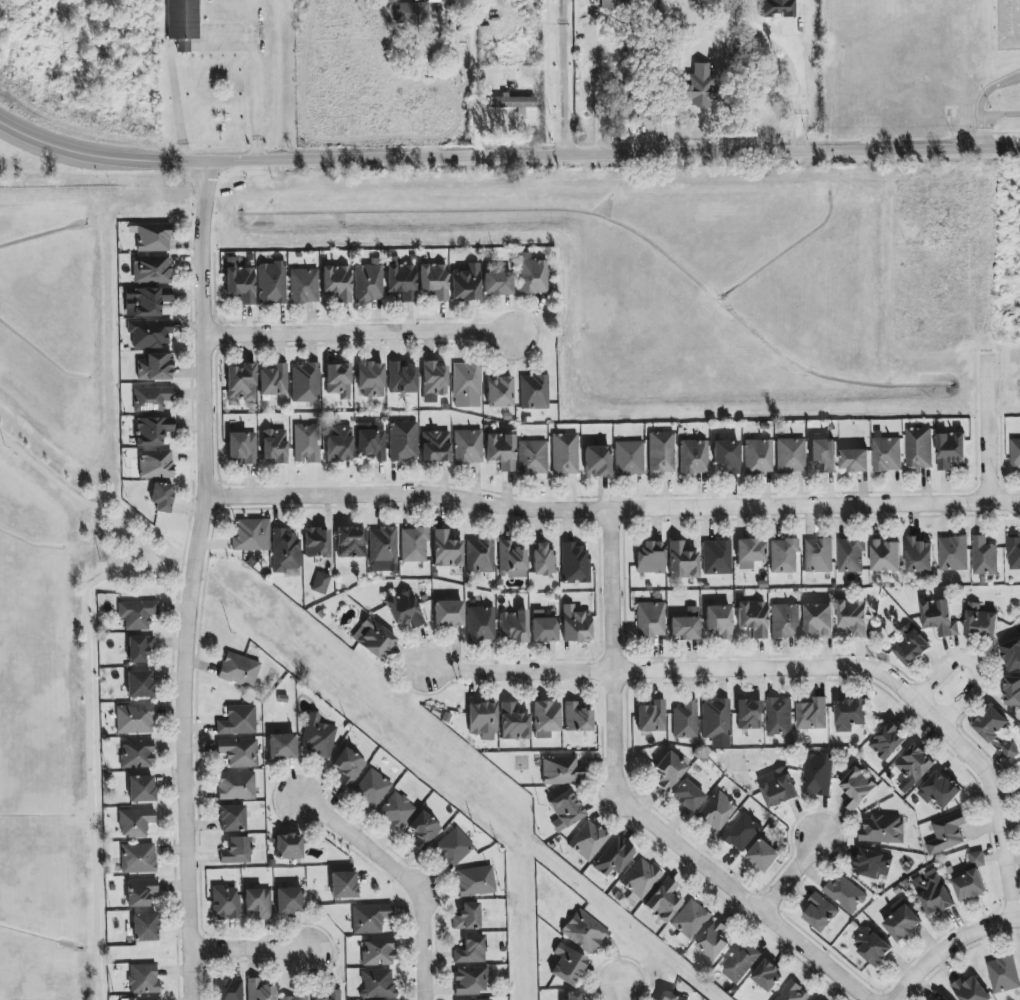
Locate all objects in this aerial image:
building: (614, 4)
building: (776, 8)
building: (410, 13)
building: (183, 19)
building: (708, 37)
road: (210, 44)
building: (183, 46)
road: (560, 76)
road: (482, 77)
building: (699, 87)
road: (987, 89)
road: (798, 91)
road: (595, 93)
building: (511, 102)
building: (641, 111)
road: (987, 116)
road: (49, 144)
road: (560, 153)
building: (153, 237)
building: (151, 269)
building: (532, 275)
building: (400, 279)
building: (434, 280)
building: (239, 281)
building: (369, 281)
building: (337, 282)
building: (271, 283)
building: (466, 283)
building: (497, 283)
building: (304, 286)
building: (150, 301)
building: (149, 333)
road: (364, 336)
building: (155, 367)
building: (401, 378)
building: (370, 379)
building: (274, 380)
building: (338, 380)
building: (433, 380)
building: (241, 382)
building: (305, 383)
building: (466, 385)
building: (499, 392)
building: (534, 392)
building: (150, 398)
road: (987, 429)
building: (152, 430)
building: (403, 441)
building: (306, 443)
building: (338, 444)
building: (371, 444)
building: (274, 445)
building: (435, 446)
building: (242, 447)
building: (467, 447)
building: (919, 449)
building: (501, 450)
building: (951, 450)
building: (1015, 452)
building: (661, 453)
building: (564, 454)
building: (887, 454)
building: (727, 455)
building: (790, 455)
building: (823, 455)
building: (758, 456)
building: (532, 457)
building: (693, 457)
building: (629, 458)
building: (855, 460)
building: (597, 461)
building: (156, 464)
building: (162, 497)
road: (98, 508)
road: (611, 511)
building: (251, 535)
building: (350, 542)
building: (316, 543)
building: (414, 545)
building: (382, 546)
building: (446, 550)
building: (285, 552)
building: (1014, 552)
building: (749, 553)
building: (953, 553)
park: (130, 555)
building: (479, 555)
building: (818, 555)
building: (850, 555)
building: (886, 555)
building: (919, 555)
building: (783, 556)
building: (984, 556)
building: (716, 557)
building: (650, 558)
building: (542, 560)
building: (511, 561)
building: (682, 561)
building: (574, 564)
road: (194, 580)
building: (320, 583)
building: (404, 609)
building: (448, 613)
building: (137, 614)
building: (854, 617)
building: (939, 617)
building: (752, 618)
building: (819, 619)
building: (650, 620)
building: (718, 620)
building: (785, 621)
building: (980, 621)
building: (481, 624)
building: (575, 624)
building: (685, 625)
building: (514, 626)
building: (544, 630)
building: (374, 639)
building: (911, 647)
building: (139, 648)
building: (1012, 654)
road: (974, 667)
road: (800, 669)
building: (238, 670)
building: (139, 684)
building: (1012, 691)
building: (749, 714)
building: (812, 714)
building: (851, 714)
building: (546, 716)
building: (651, 717)
building: (779, 717)
building: (576, 718)
building: (134, 719)
building: (482, 720)
building: (685, 720)
building: (238, 721)
building: (716, 722)
building: (513, 723)
building: (990, 724)
building: (317, 735)
building: (887, 741)
building: (281, 746)
road: (615, 747)
building: (1010, 750)
building: (239, 752)
building: (137, 754)
road: (89, 756)
building: (914, 765)
building: (348, 767)
building: (561, 770)
building: (669, 771)
building: (818, 774)
building: (236, 785)
building: (778, 787)
building: (857, 788)
building: (141, 789)
building: (371, 789)
building: (939, 790)
building: (687, 795)
building: (397, 810)
building: (564, 810)
building: (716, 811)
building: (232, 818)
building: (135, 822)
building: (882, 829)
building: (423, 830)
building: (742, 832)
building: (947, 832)
building: (588, 840)
building: (288, 846)
building: (453, 847)
building: (236, 851)
building: (764, 855)
building: (614, 857)
building: (138, 858)
building: (977, 859)
building: (872, 864)
road: (792, 874)
road: (393, 875)
building: (640, 879)
building: (475, 881)
building: (343, 885)
building: (969, 886)
building: (140, 892)
building: (933, 892)
building: (844, 893)
building: (663, 900)
building: (288, 901)
building: (225, 902)
building: (258, 902)
building: (820, 912)
building: (467, 917)
building: (369, 918)
building: (902, 921)
building: (690, 922)
building: (145, 927)
building: (584, 932)
building: (714, 940)
road: (959, 940)
building: (873, 947)
building: (471, 950)
building: (378, 952)
road: (818, 955)
road: (261, 957)
building: (740, 963)
building: (567, 964)
building: (1003, 974)
building: (767, 975)
building: (143, 979)
building: (470, 980)
building: (377, 984)
building: (228, 989)
road: (901, 989)
building: (259, 990)
building: (970, 990)
road: (621, 992)
building: (793, 992)
building: (331, 995)
building: (573, 996)
building: (669, 996)
building: (293, 997)
building: (144, 998)
building: (941, 998)
building: (483, 999)

